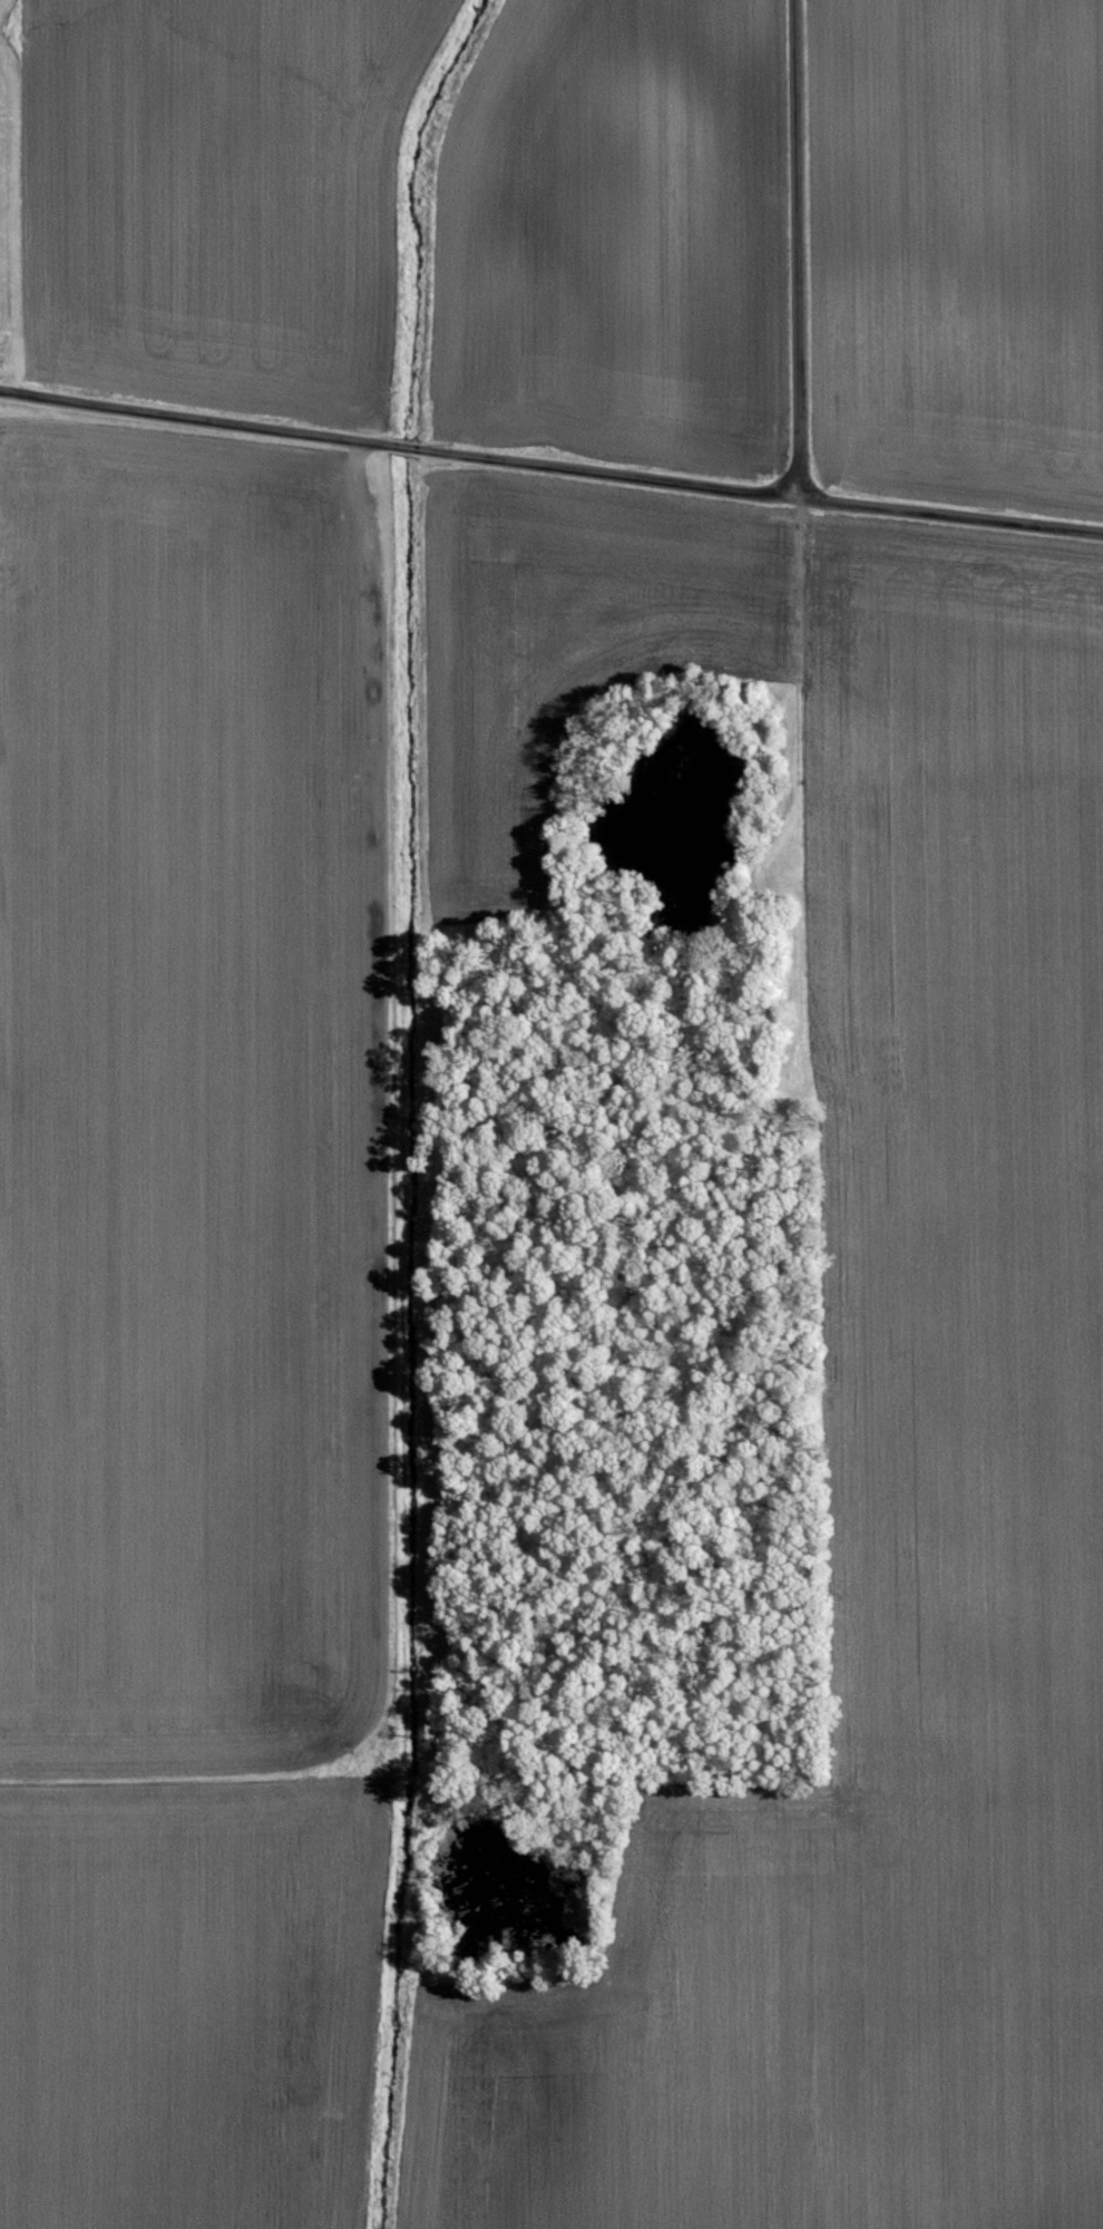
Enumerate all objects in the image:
road: (798, 247)
road: (550, 464)

